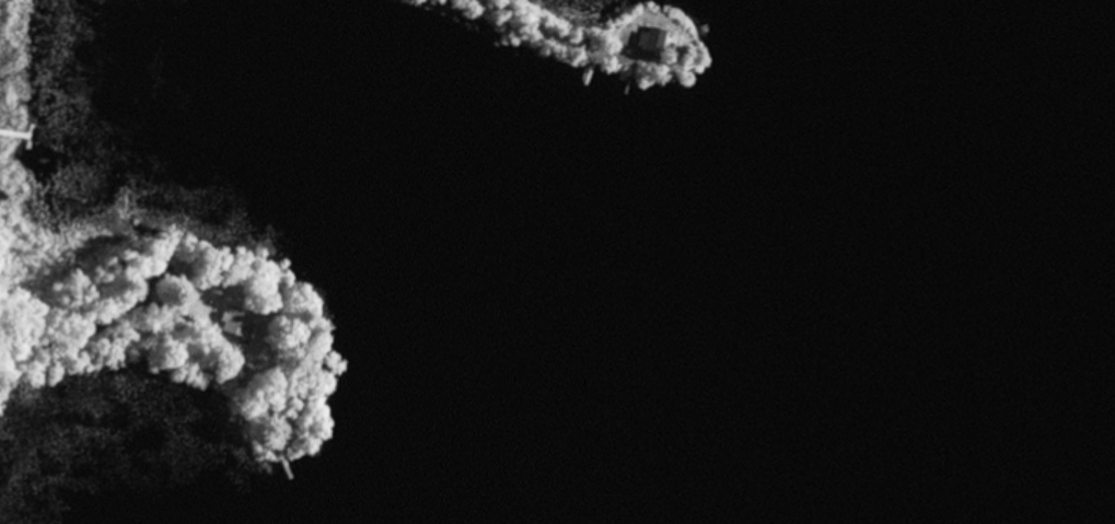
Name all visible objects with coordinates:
road: (546, 20)
building: (648, 38)
building: (138, 270)
building: (231, 317)

